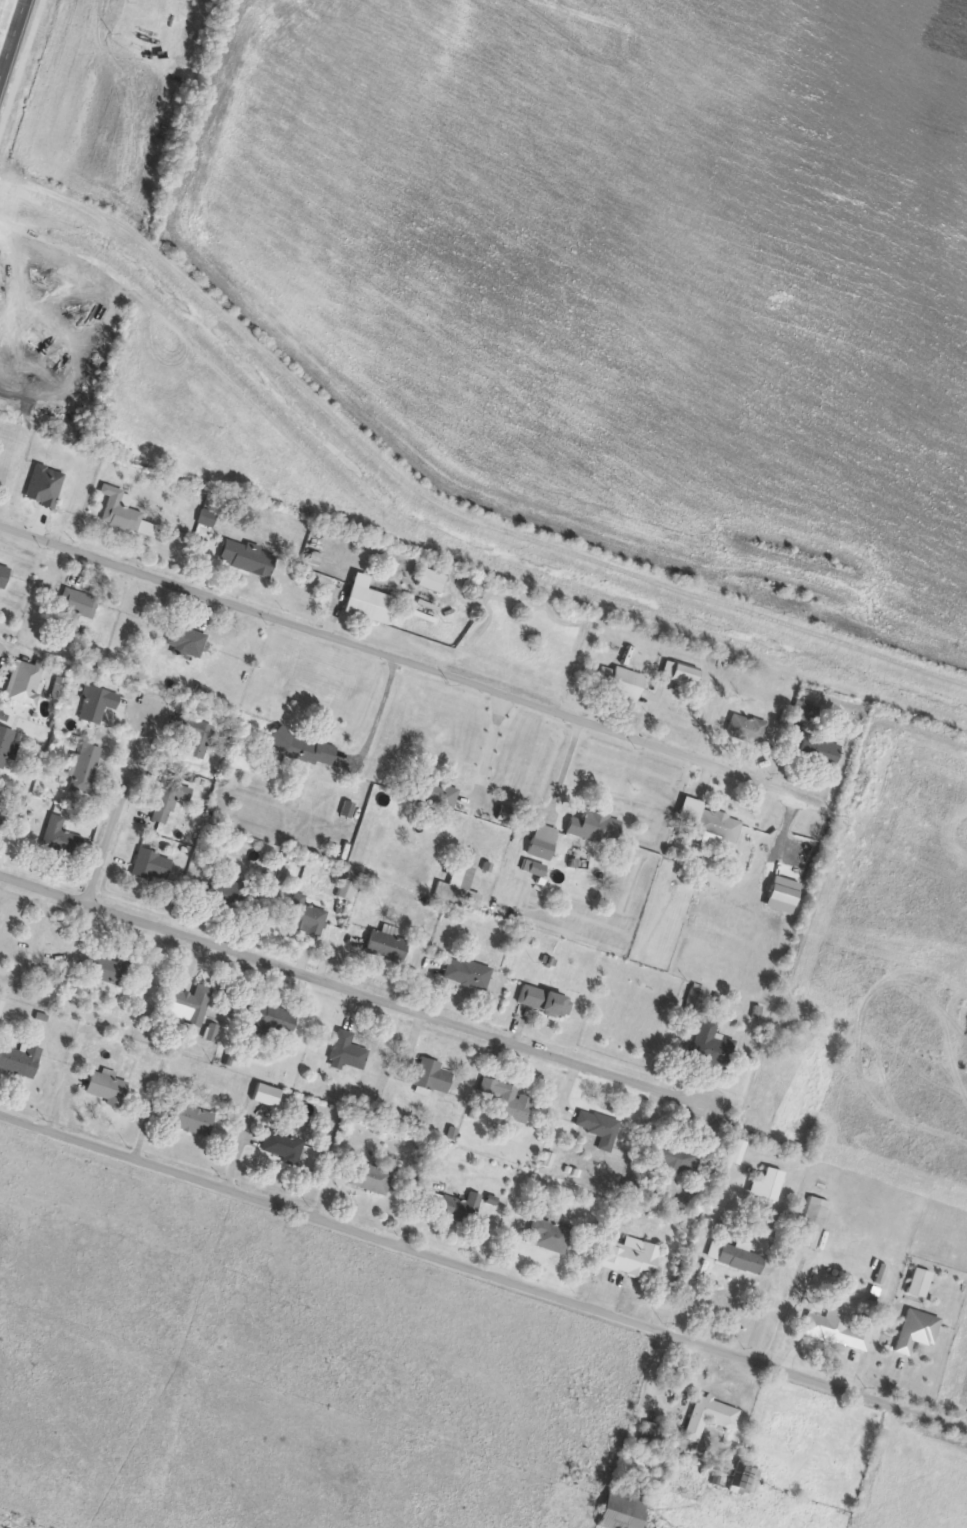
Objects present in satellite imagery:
road: (14, 42)
building: (45, 486)
building: (120, 510)
building: (247, 558)
building: (4, 576)
building: (367, 601)
building: (79, 603)
building: (186, 640)
road: (404, 664)
building: (680, 673)
building: (26, 682)
building: (620, 682)
building: (97, 704)
building: (806, 712)
road: (385, 722)
building: (746, 729)
building: (193, 739)
building: (5, 744)
road: (488, 746)
building: (819, 752)
road: (562, 768)
building: (86, 769)
building: (437, 793)
building: (169, 801)
road: (120, 809)
building: (4, 814)
building: (718, 826)
building: (596, 827)
building: (60, 838)
building: (543, 842)
building: (152, 865)
building: (459, 886)
building: (230, 894)
building: (303, 915)
building: (386, 946)
building: (111, 970)
building: (467, 974)
road: (353, 990)
building: (544, 1002)
building: (189, 1005)
building: (272, 1021)
building: (711, 1046)
building: (348, 1051)
building: (20, 1060)
building: (432, 1076)
building: (107, 1088)
building: (266, 1095)
building: (509, 1102)
building: (192, 1120)
building: (599, 1128)
building: (282, 1147)
building: (673, 1157)
building: (371, 1178)
building: (748, 1186)
building: (458, 1208)
building: (814, 1221)
building: (548, 1235)
building: (630, 1258)
building: (735, 1258)
road: (483, 1273)
building: (918, 1283)
road: (685, 1292)
road: (782, 1314)
building: (840, 1329)
building: (916, 1332)
building: (708, 1417)
building: (742, 1479)
building: (622, 1508)

